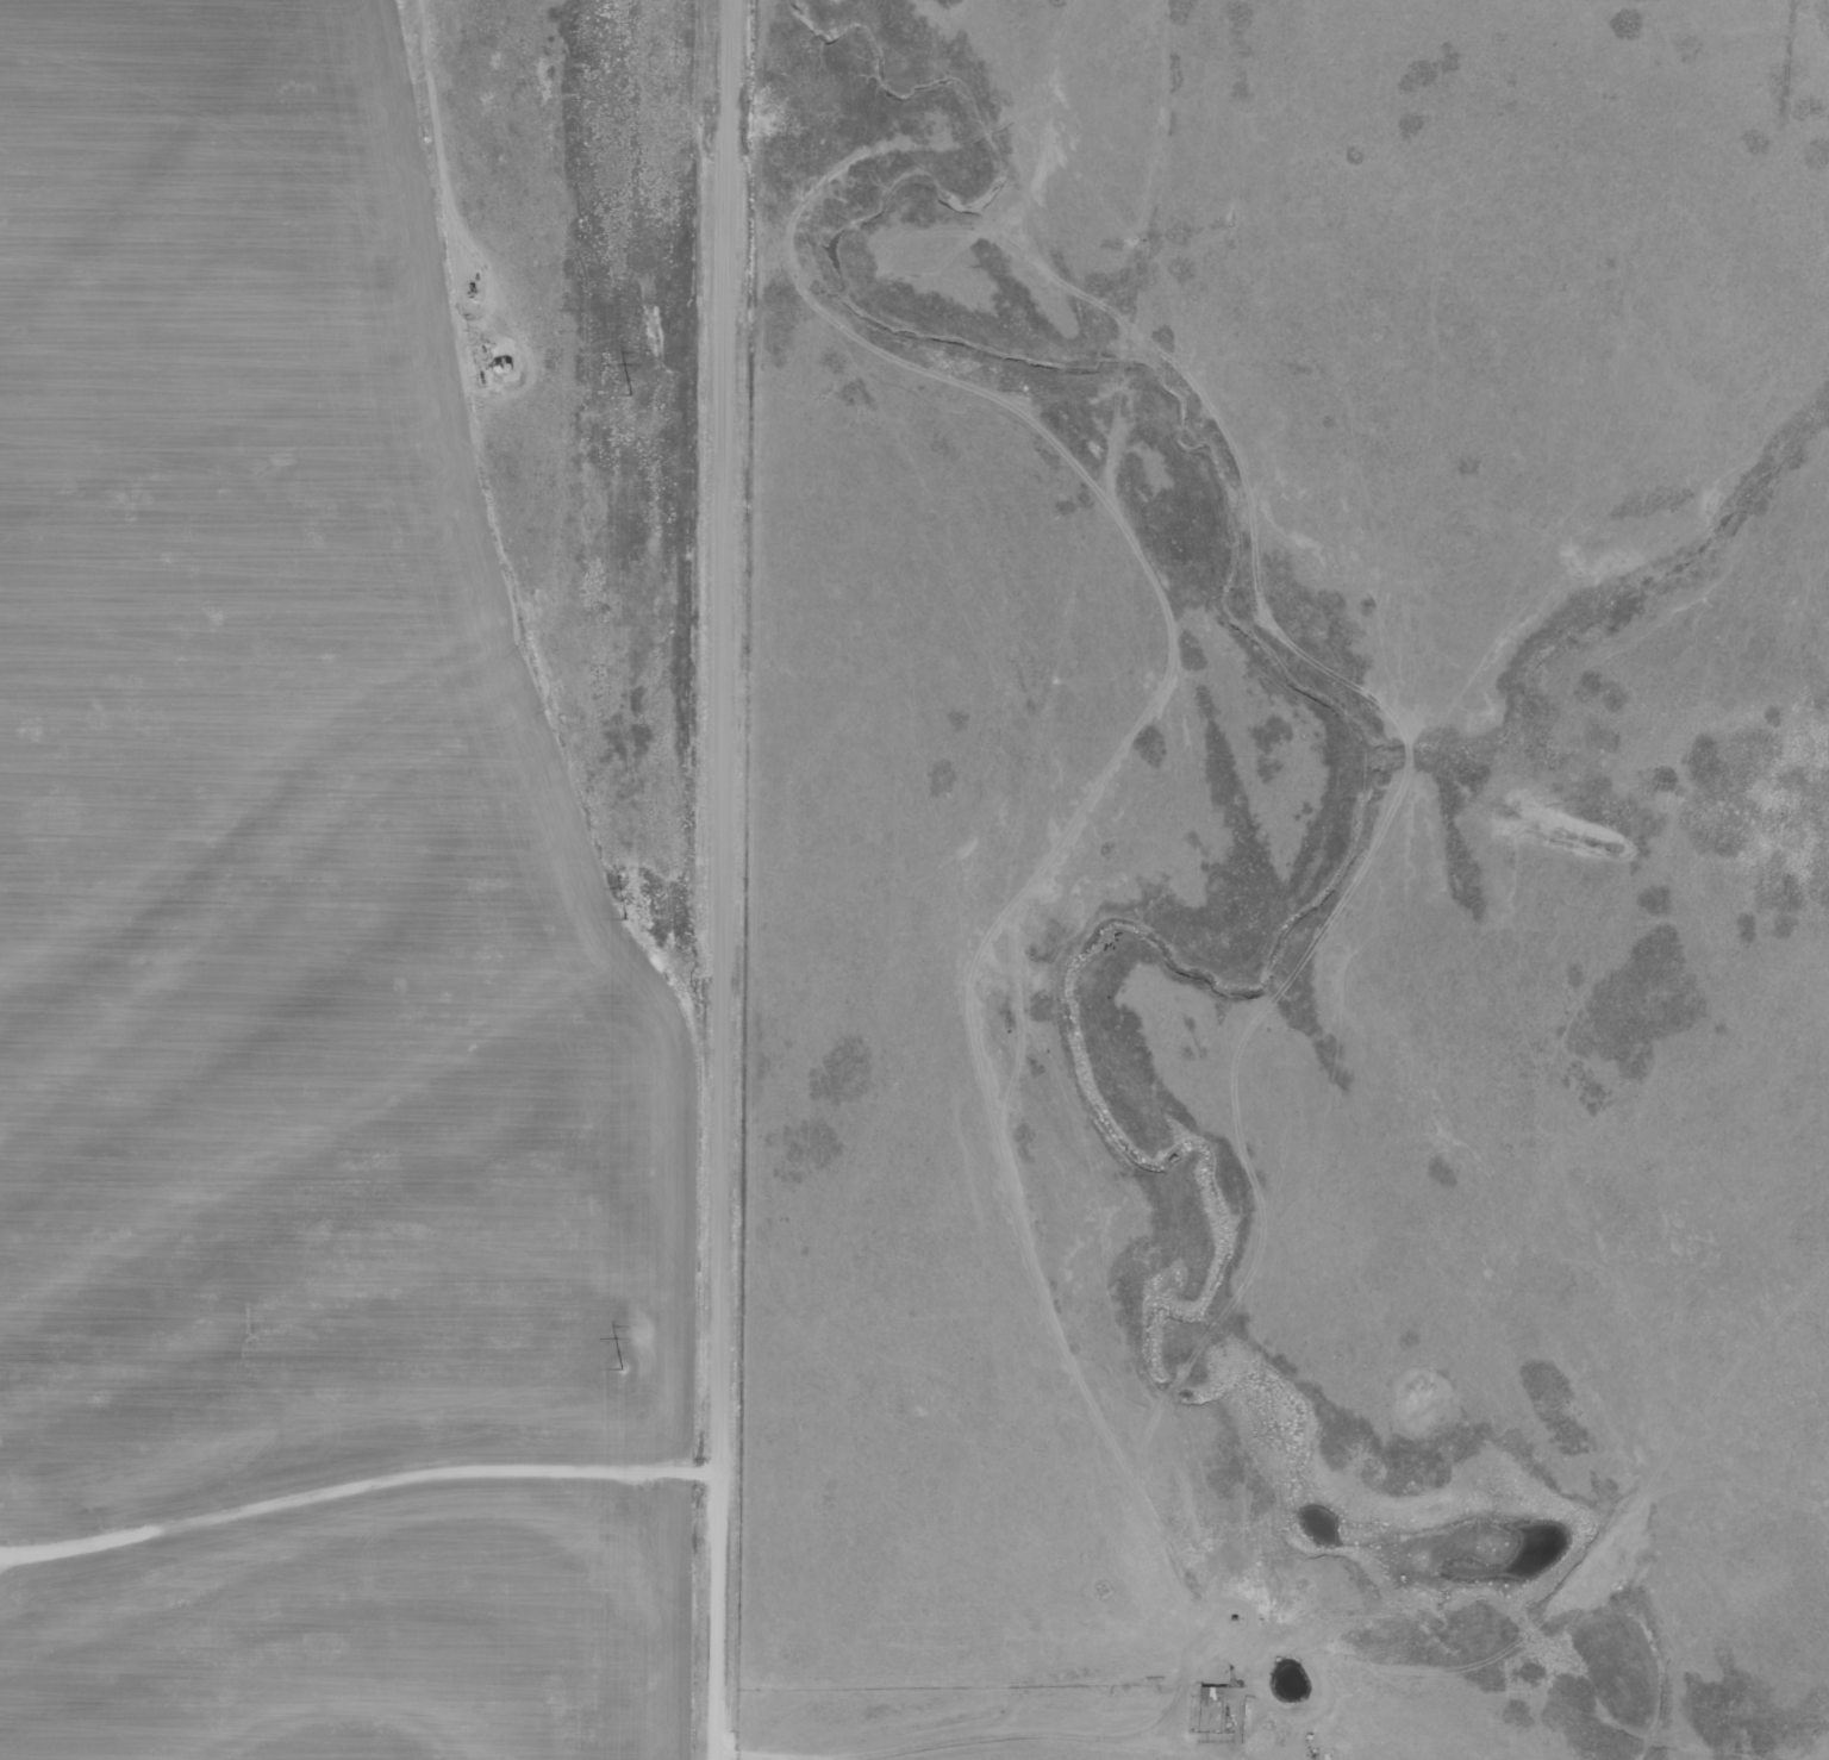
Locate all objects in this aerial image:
power tower: (629, 395)
road: (728, 880)
power tower: (622, 916)
power tower: (620, 1369)

